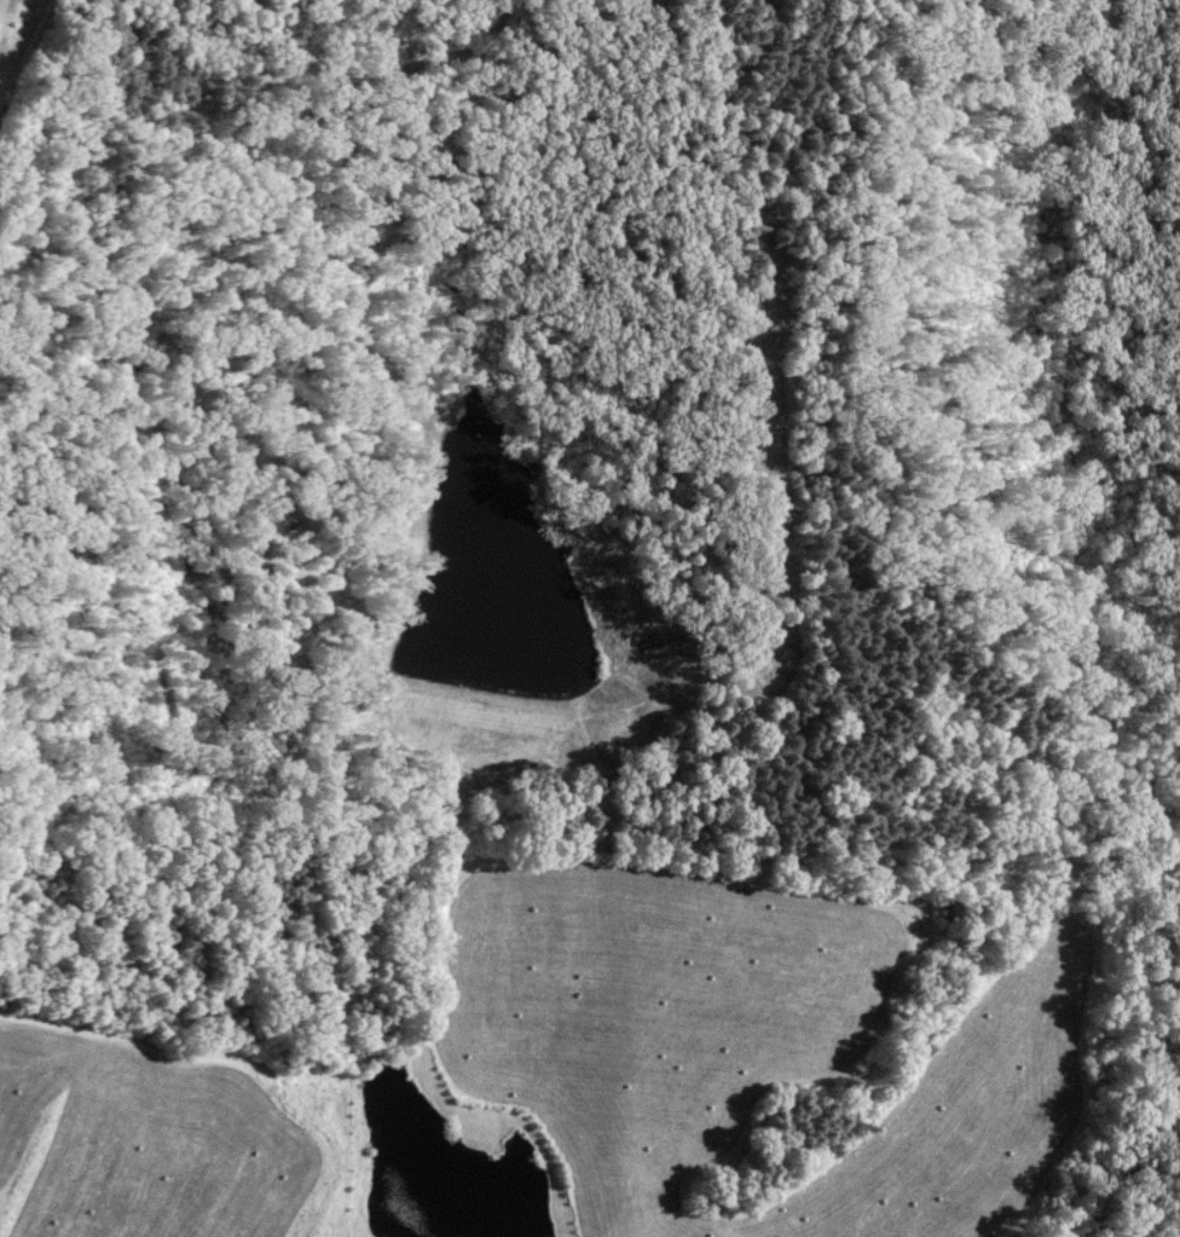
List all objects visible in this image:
road: (17, 40)

